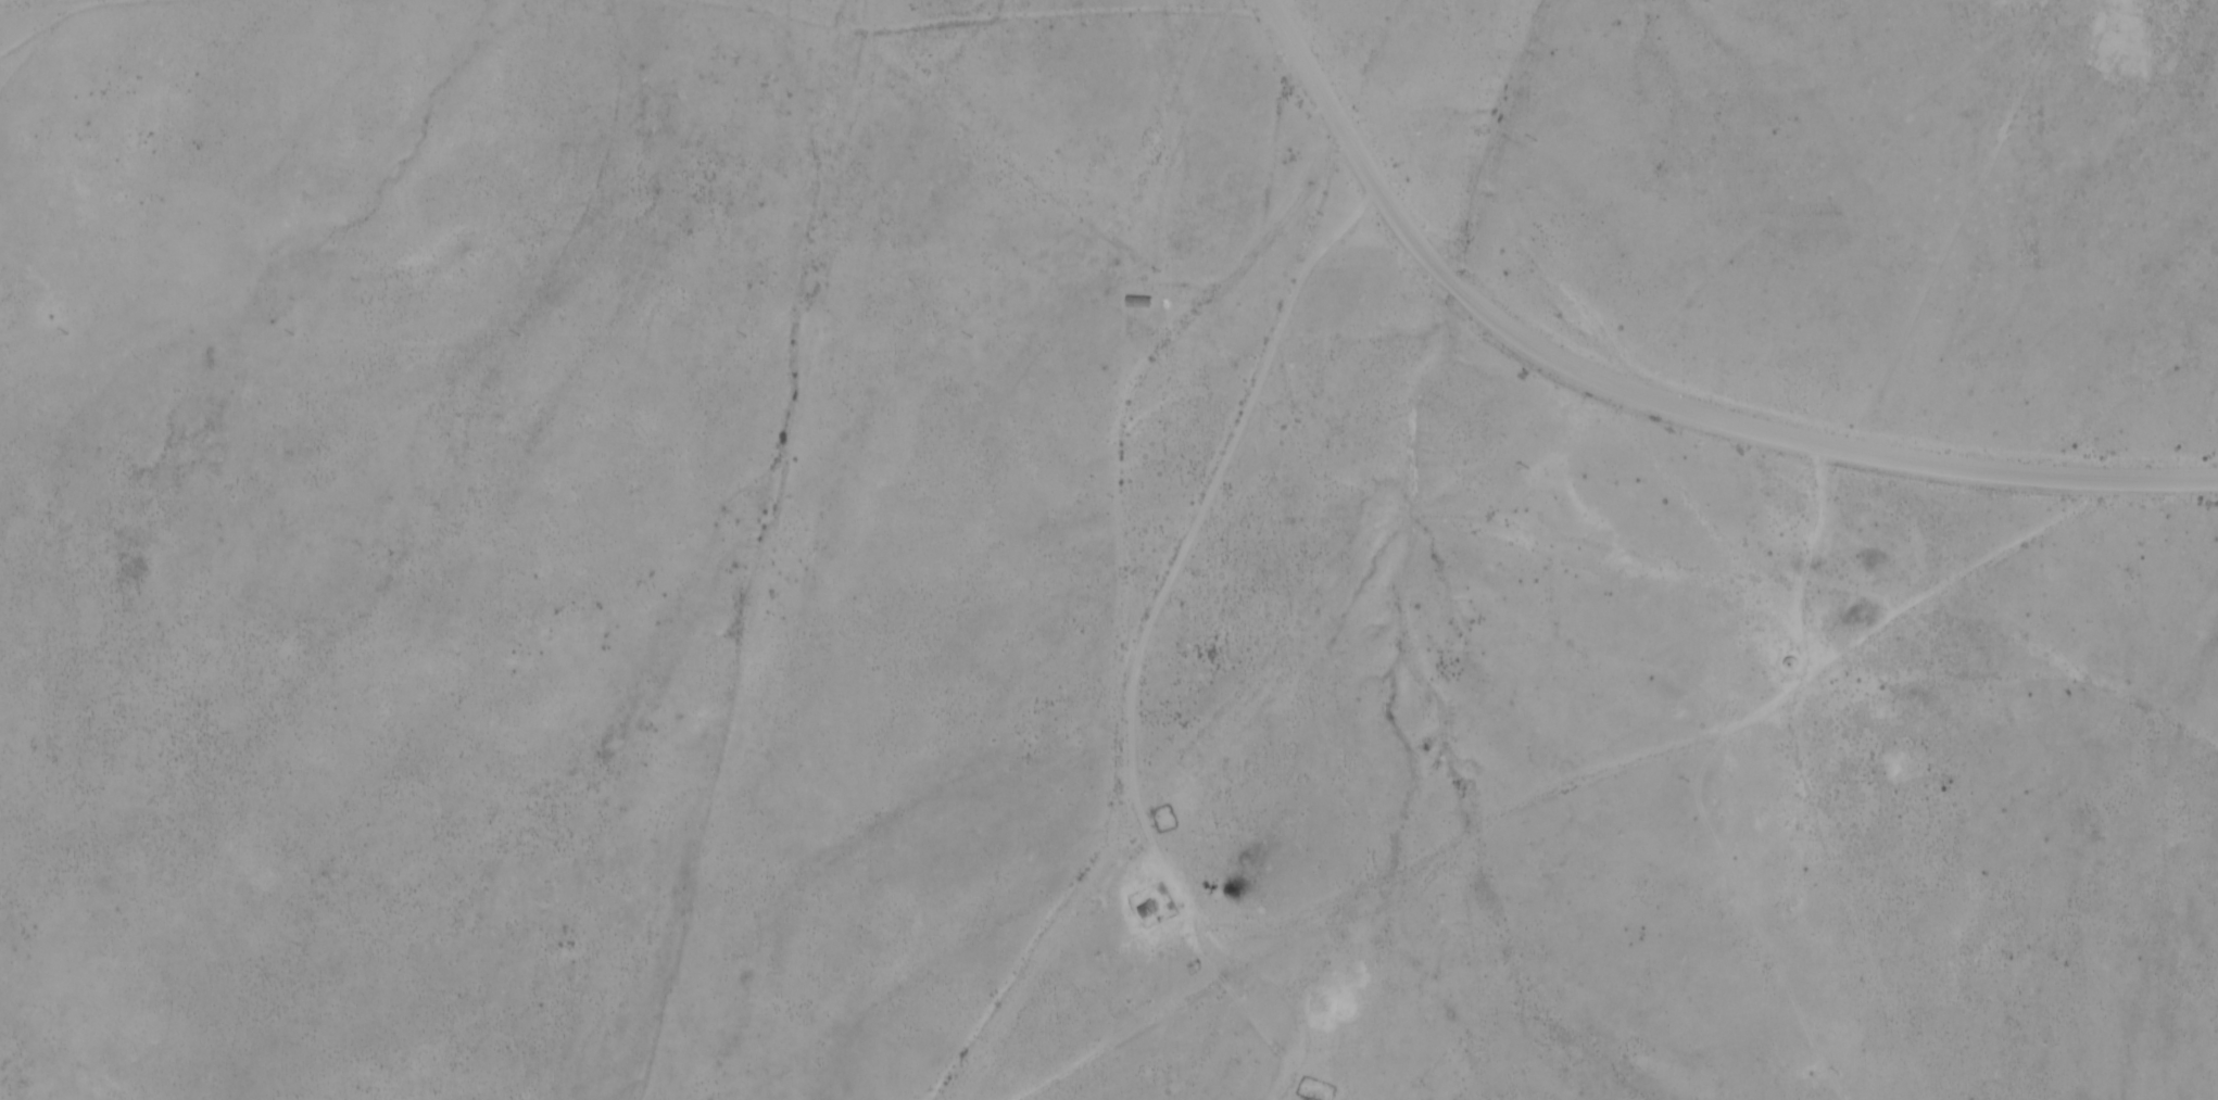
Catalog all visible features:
building: (1135, 303)
road: (1650, 404)
building: (1145, 910)

